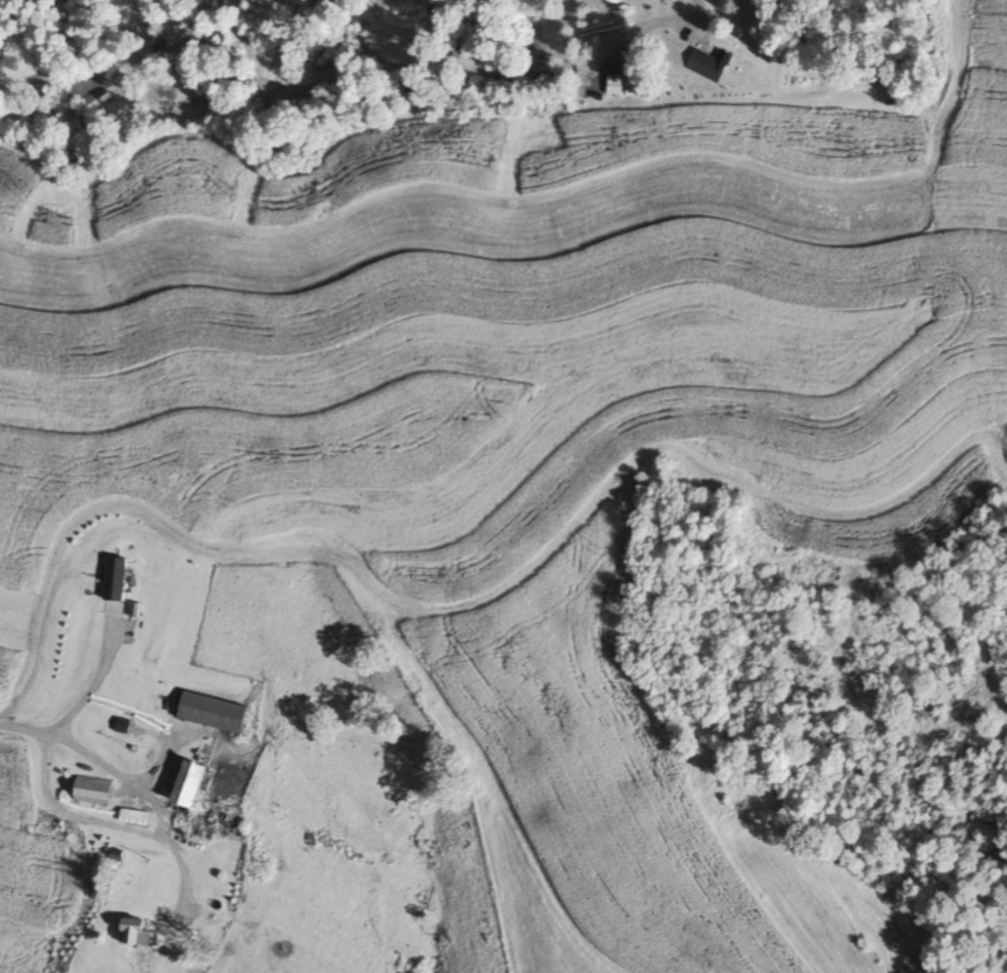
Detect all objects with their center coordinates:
road: (698, 9)
building: (706, 66)
building: (615, 86)
building: (114, 587)
road: (88, 686)
building: (213, 713)
road: (135, 785)
building: (186, 785)
building: (92, 791)
road: (67, 813)
building: (134, 817)
building: (134, 931)

